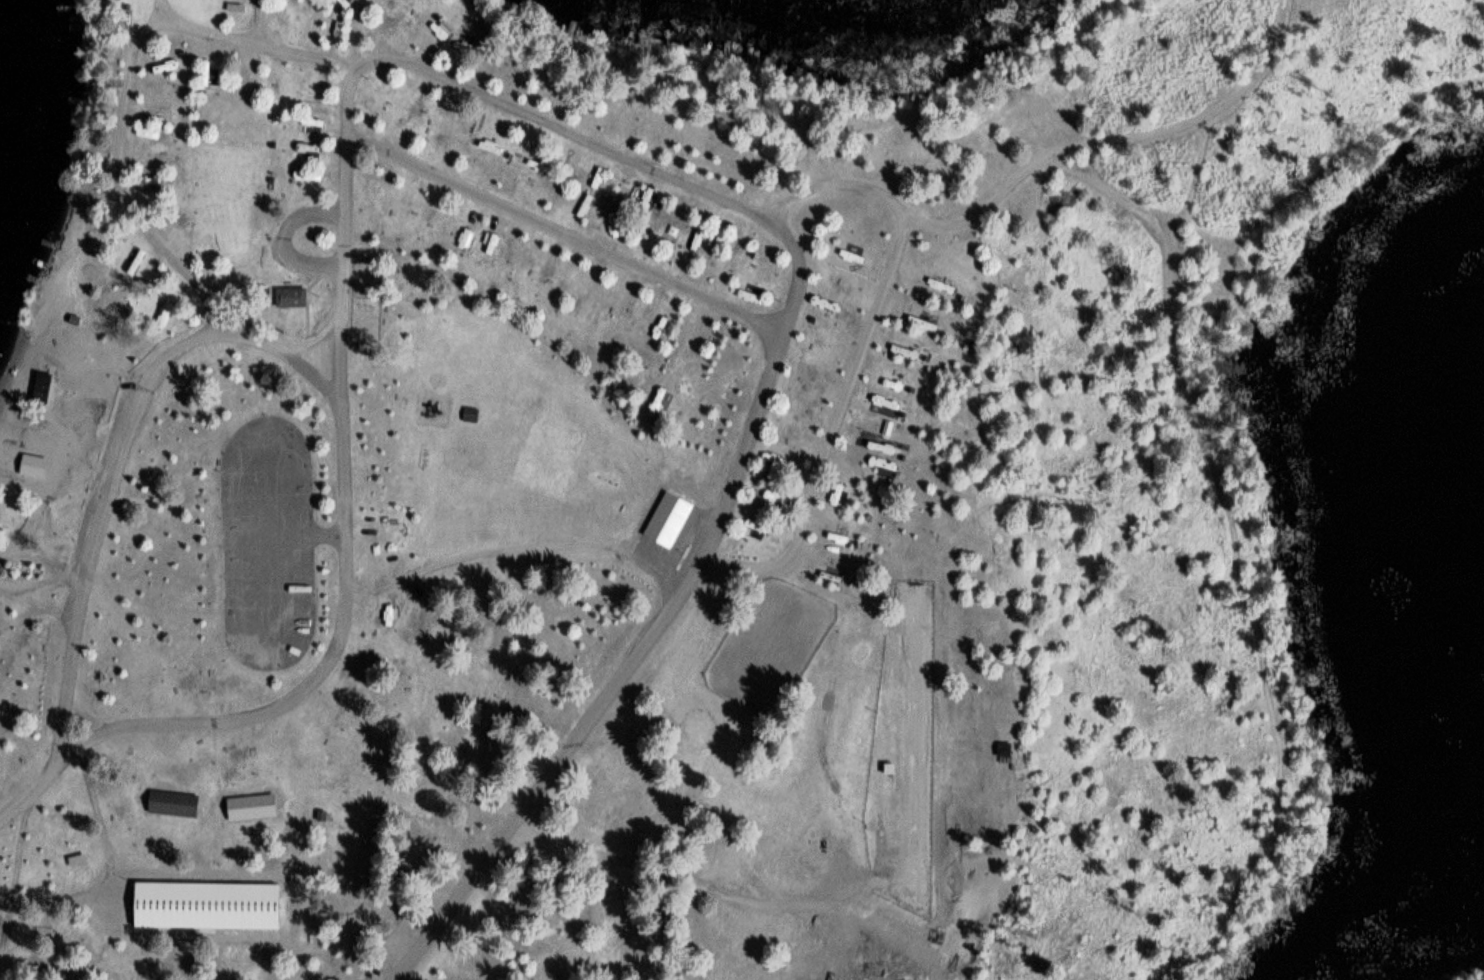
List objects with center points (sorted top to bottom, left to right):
road: (524, 112)
road: (562, 229)
building: (140, 259)
building: (292, 297)
road: (316, 330)
building: (41, 394)
road: (118, 450)
building: (34, 464)
building: (839, 493)
park: (646, 506)
building: (174, 802)
building: (252, 806)
building: (210, 904)

